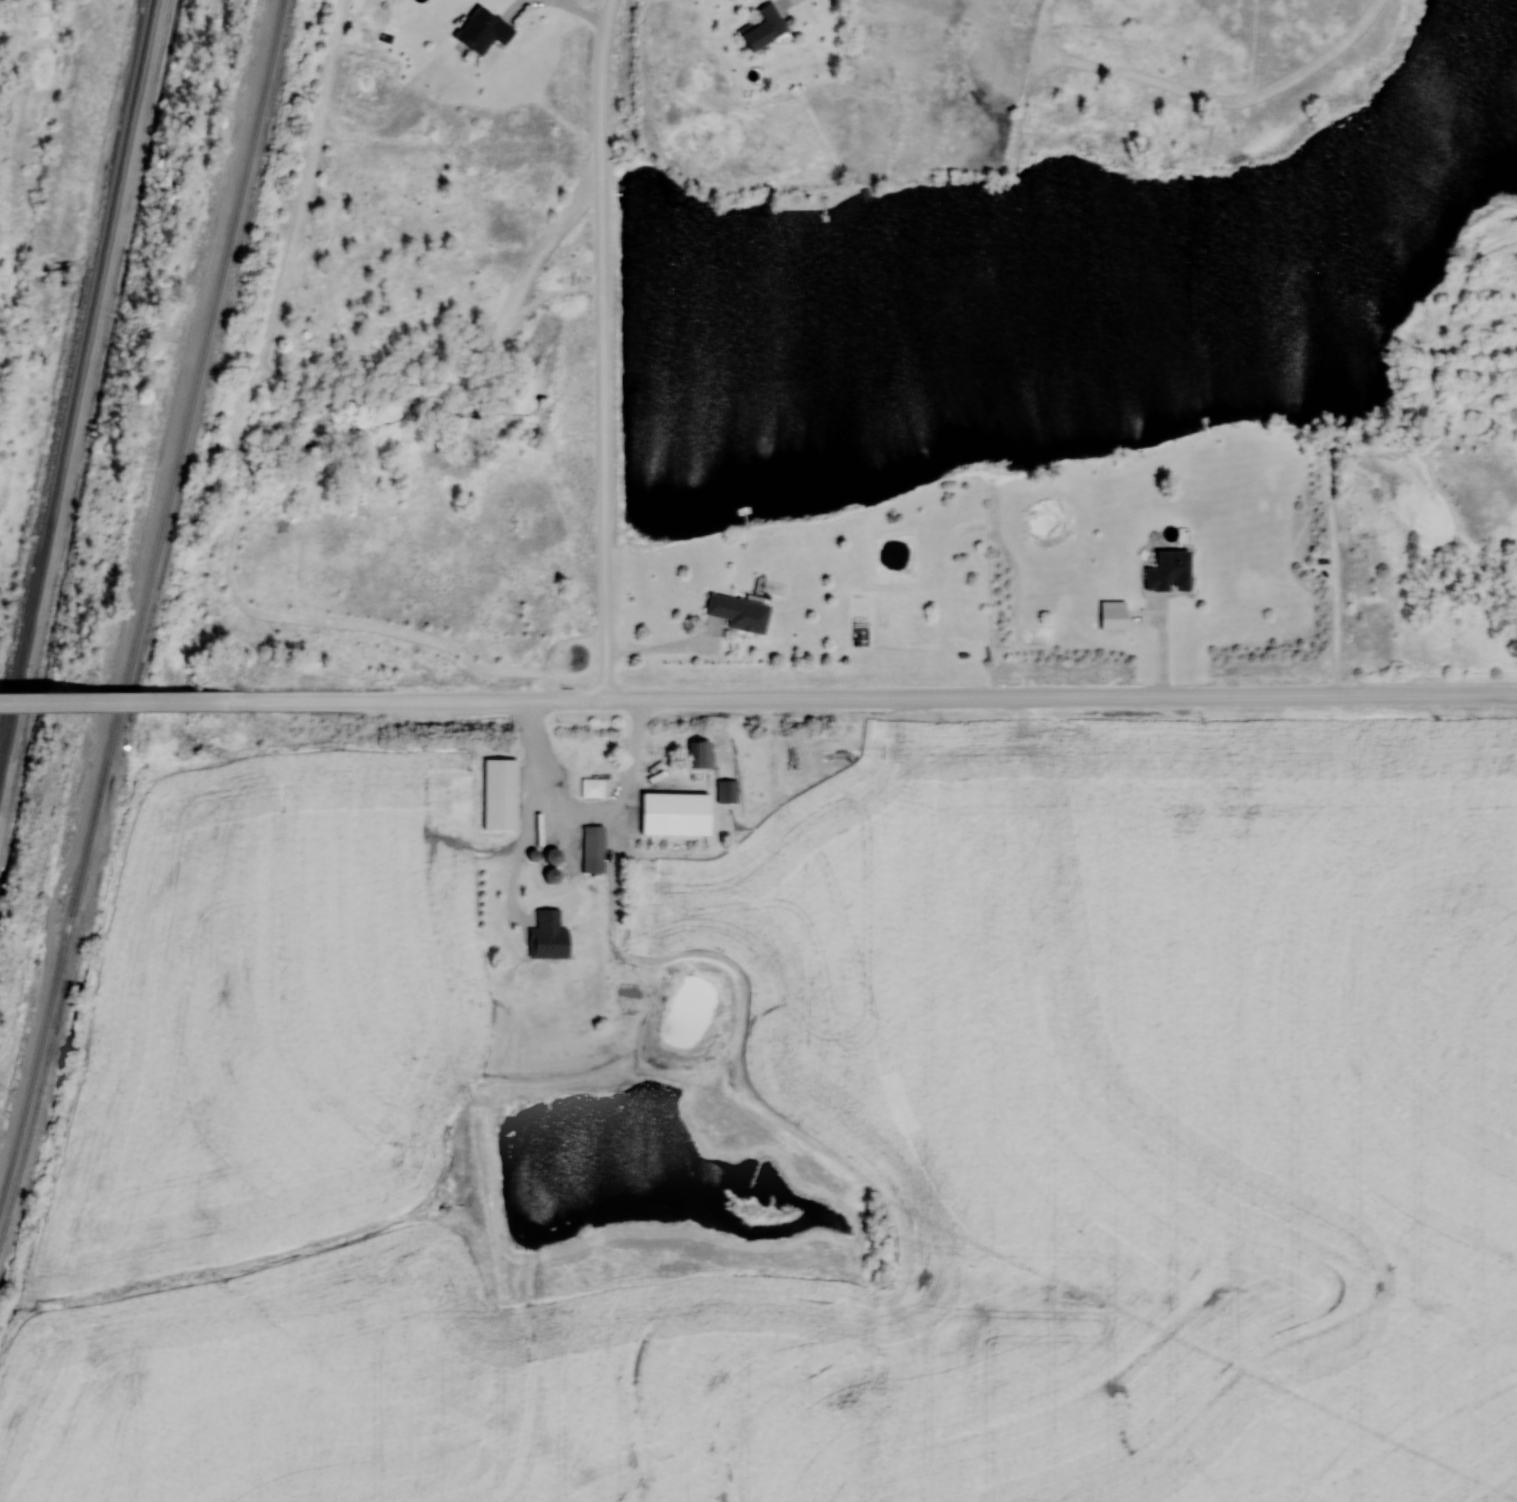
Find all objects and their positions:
building: (764, 27)
road: (607, 349)
railway: (78, 388)
railway: (144, 598)
building: (740, 613)
road: (878, 698)
road: (119, 702)
building: (700, 754)
building: (592, 787)
building: (727, 792)
building: (500, 793)
building: (671, 814)
building: (593, 849)
building: (554, 855)
building: (552, 875)
building: (549, 936)

